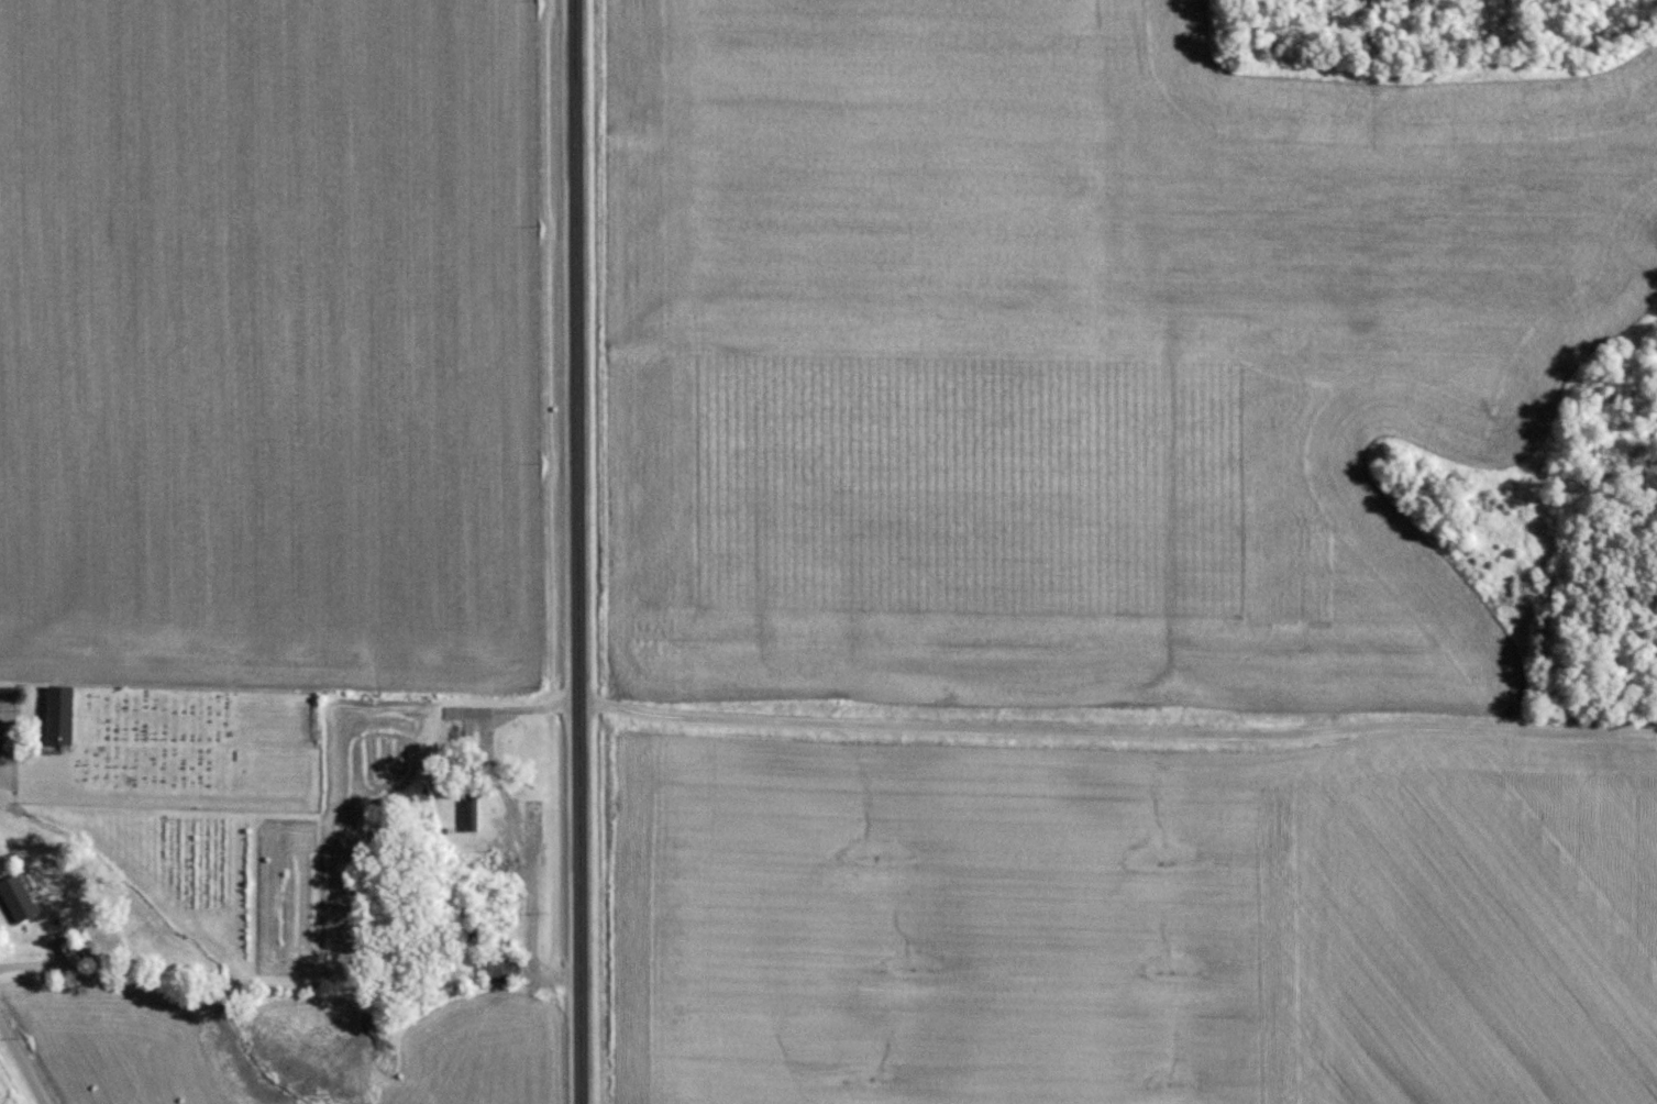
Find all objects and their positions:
road: (577, 552)
building: (58, 714)
building: (15, 896)
building: (68, 949)
road: (23, 1060)

